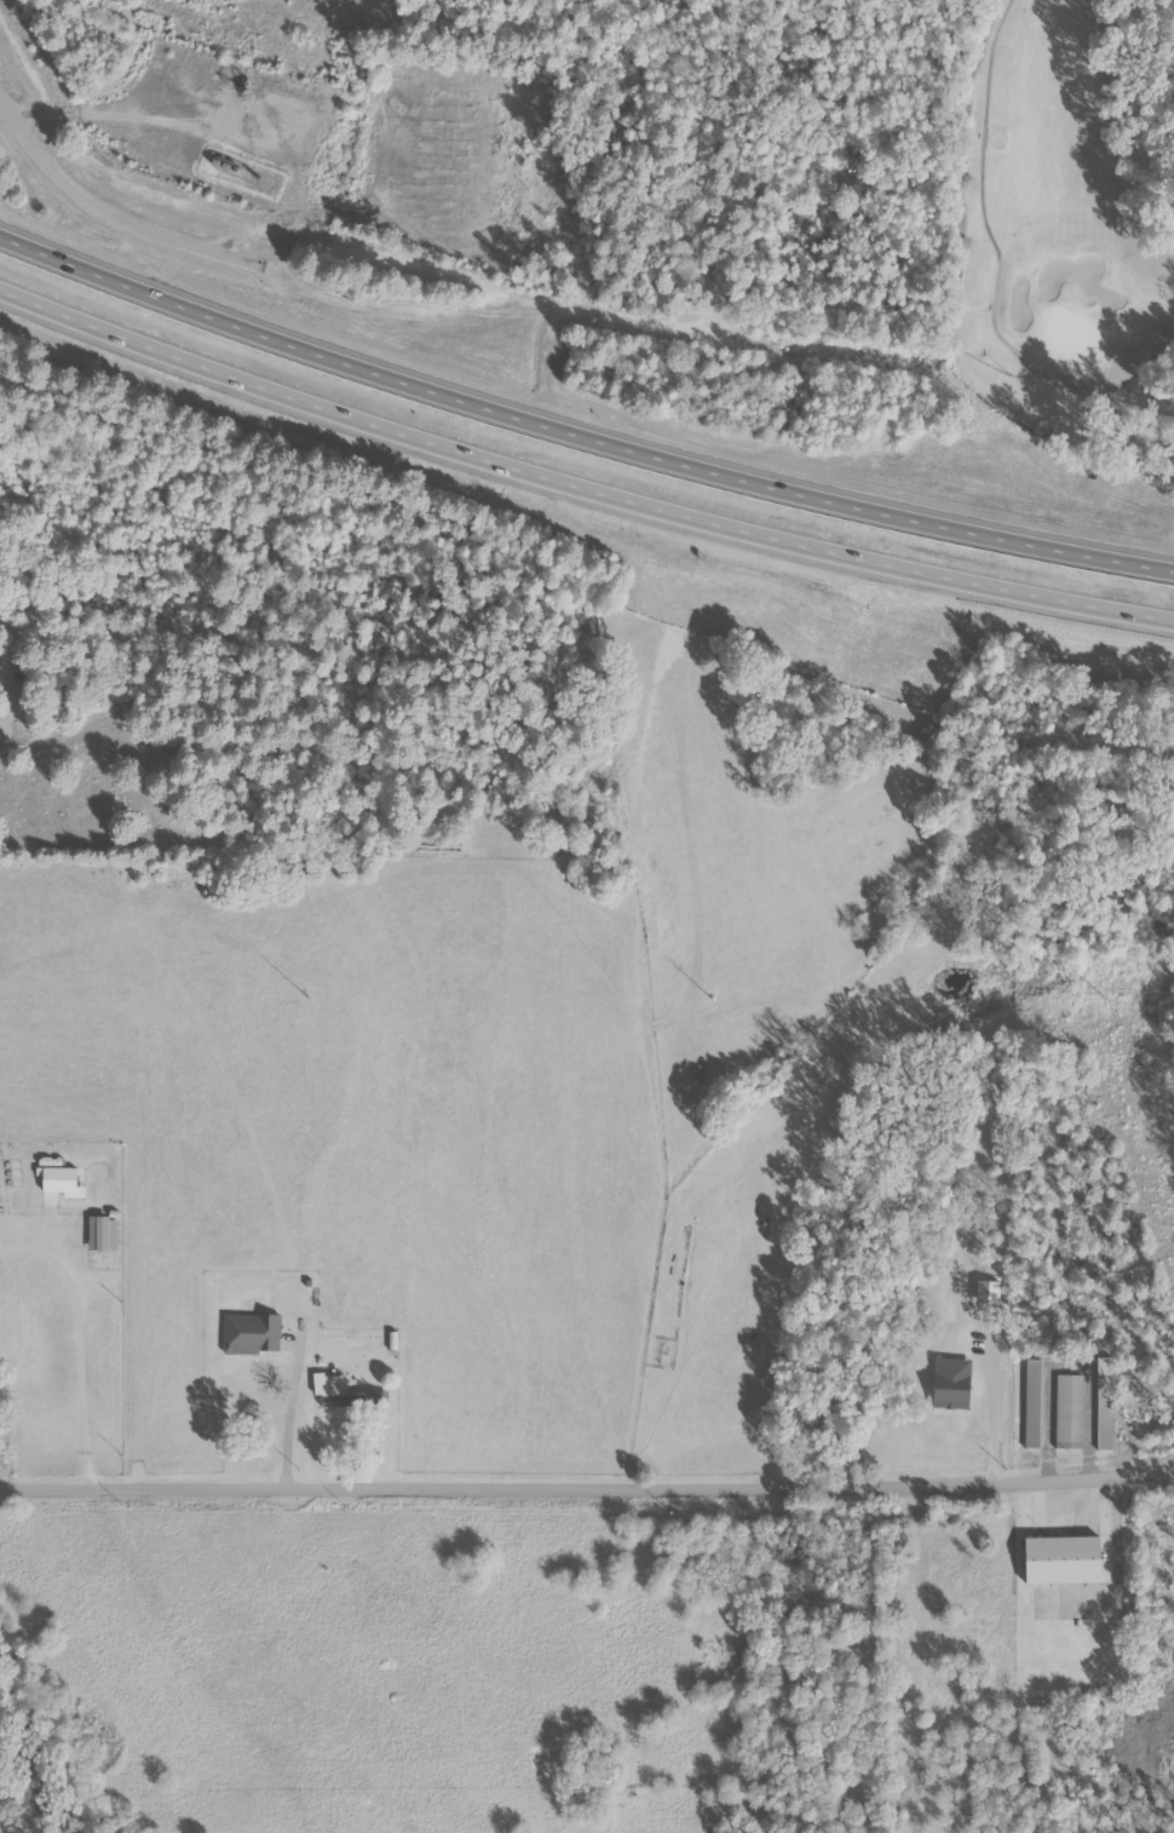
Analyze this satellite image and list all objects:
park: (1067, 196)
road: (107, 211)
road: (1000, 265)
road: (577, 436)
road: (577, 485)
building: (988, 1292)
building: (252, 1334)
building: (950, 1384)
building: (345, 1394)
building: (1032, 1403)
building: (1069, 1412)
road: (587, 1490)
building: (1078, 1568)

